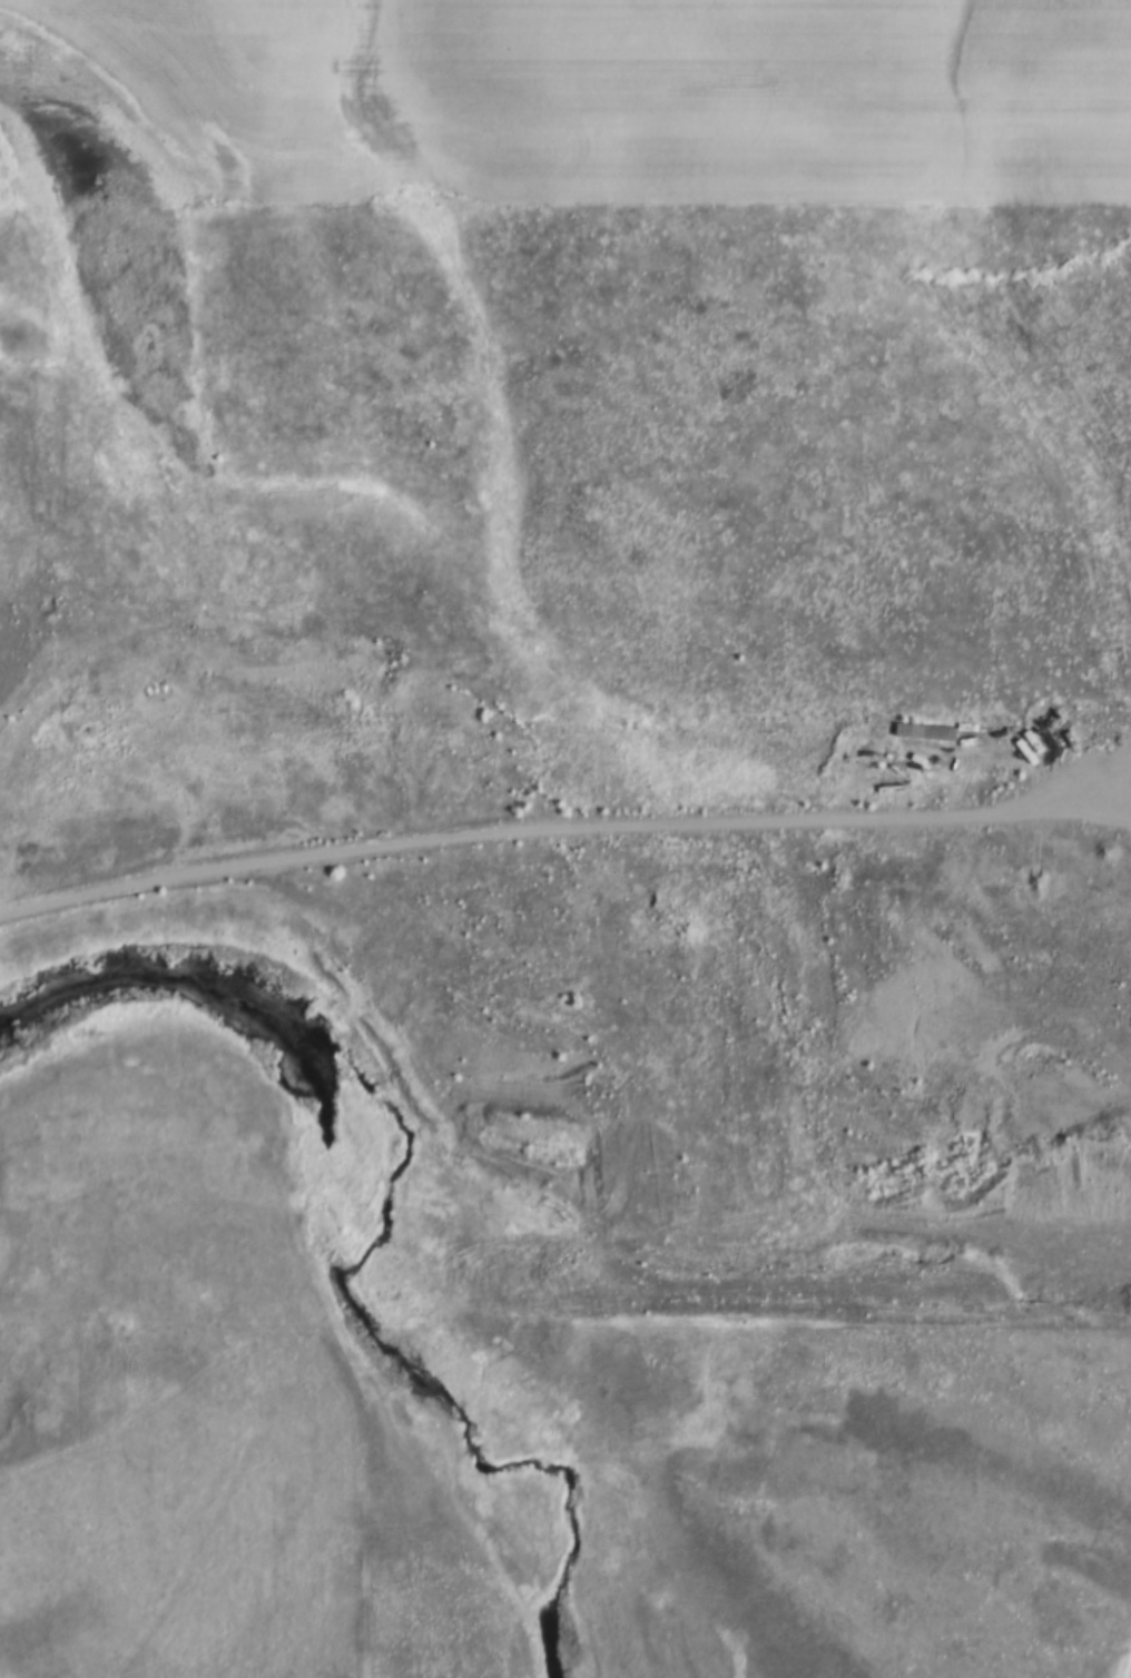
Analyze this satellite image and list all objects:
building: (932, 726)

